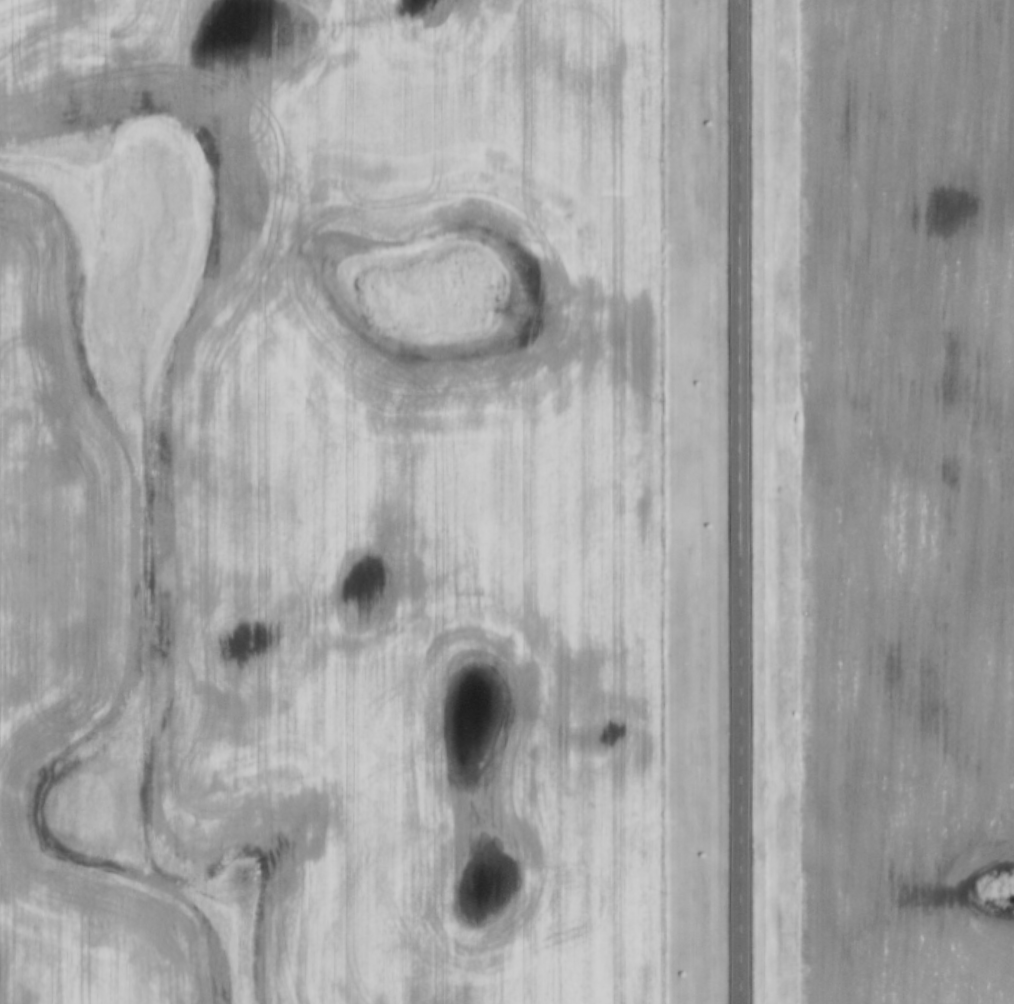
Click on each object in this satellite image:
road: (746, 502)

